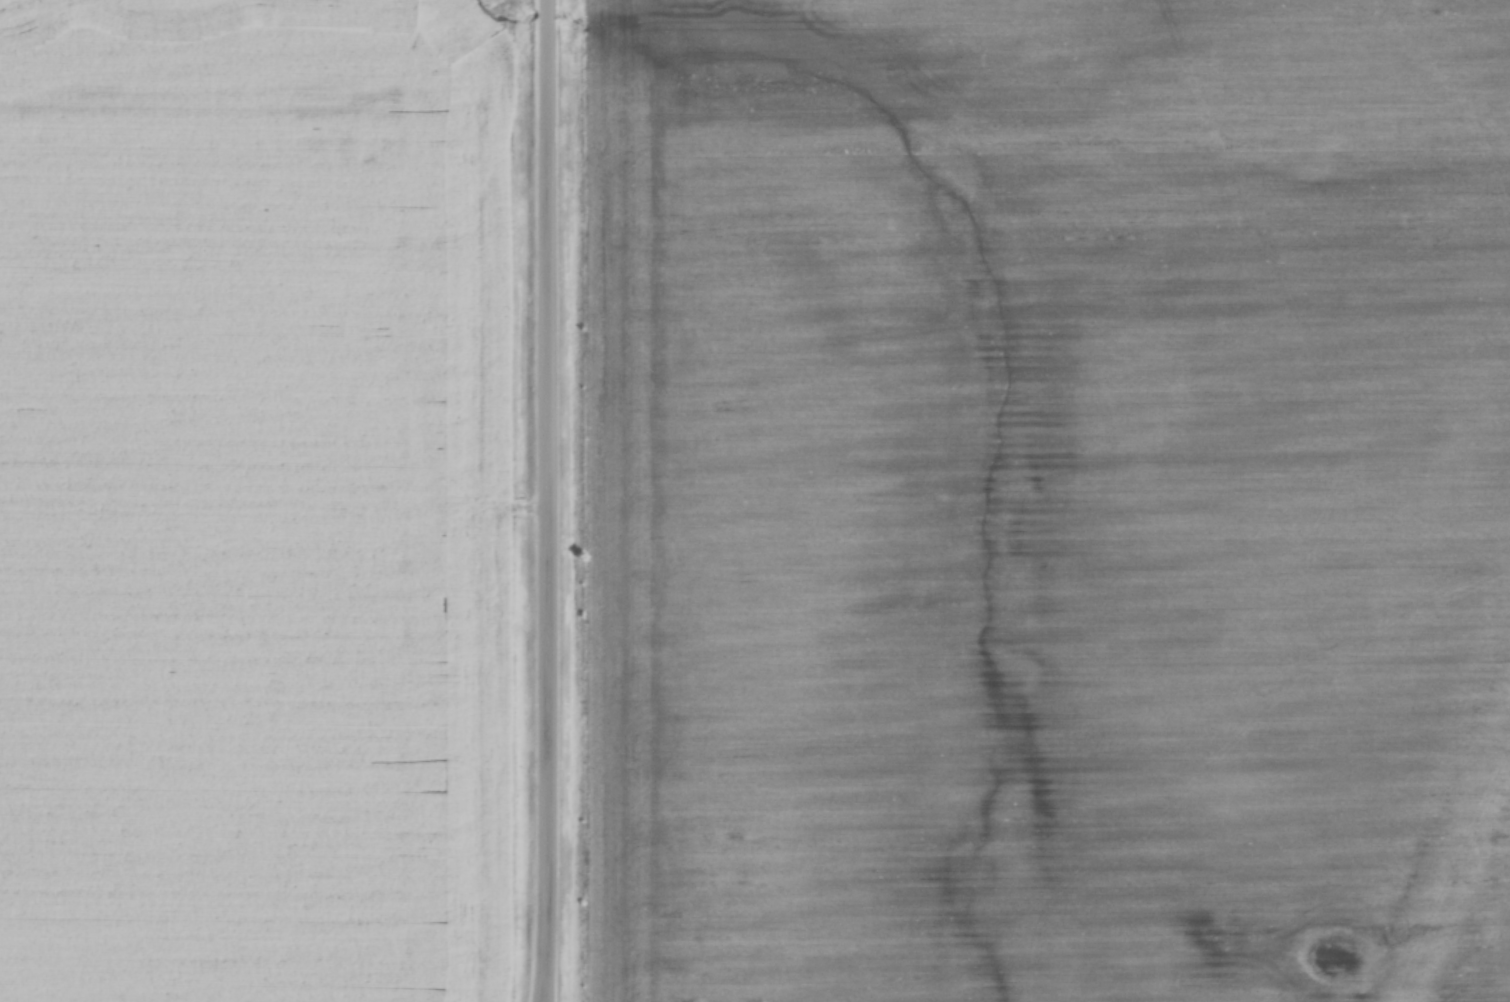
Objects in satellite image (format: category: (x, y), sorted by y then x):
road: (553, 501)

